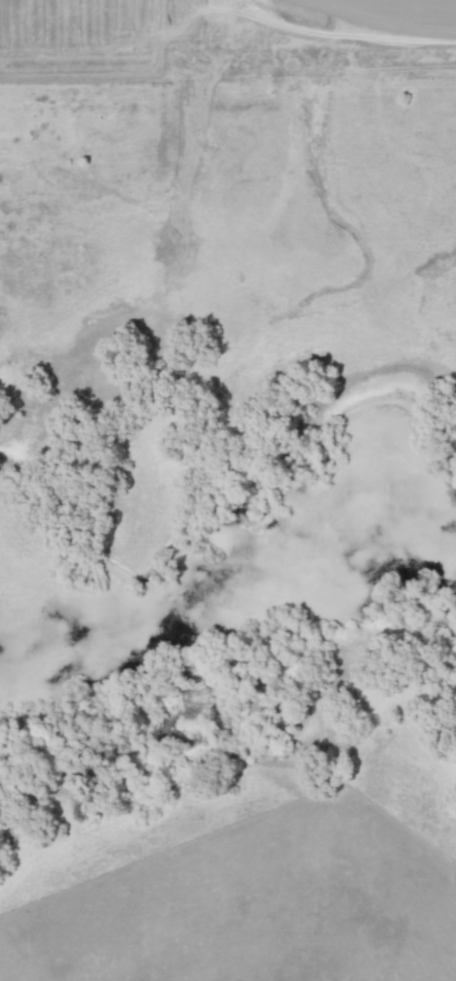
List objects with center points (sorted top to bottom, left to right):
crop: (336, 13)

